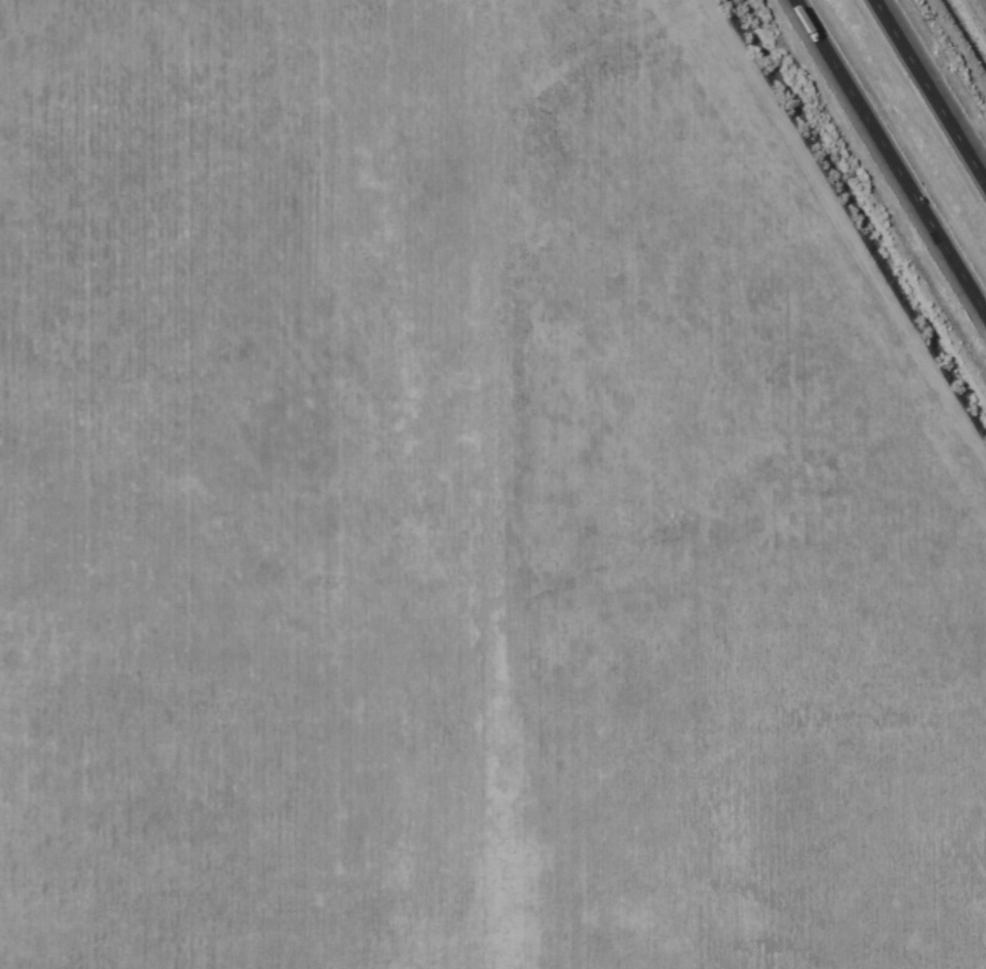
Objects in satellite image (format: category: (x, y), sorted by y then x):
road: (933, 87)
road: (892, 154)

